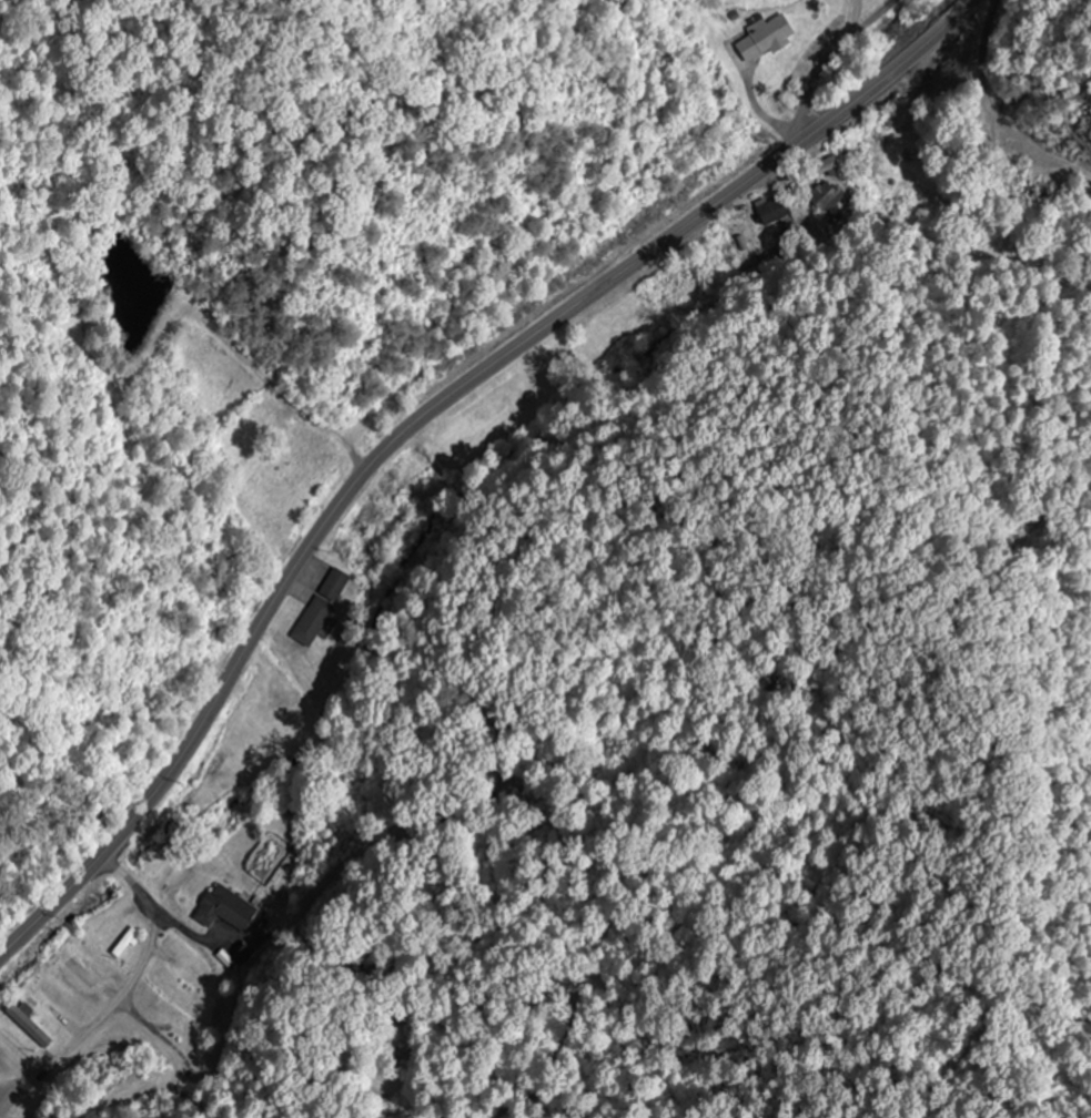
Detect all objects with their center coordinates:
building: (767, 37)
road: (820, 69)
building: (826, 196)
building: (775, 211)
road: (426, 423)
building: (307, 446)
building: (322, 608)
building: (225, 909)
building: (127, 944)
building: (87, 964)
building: (30, 1025)

